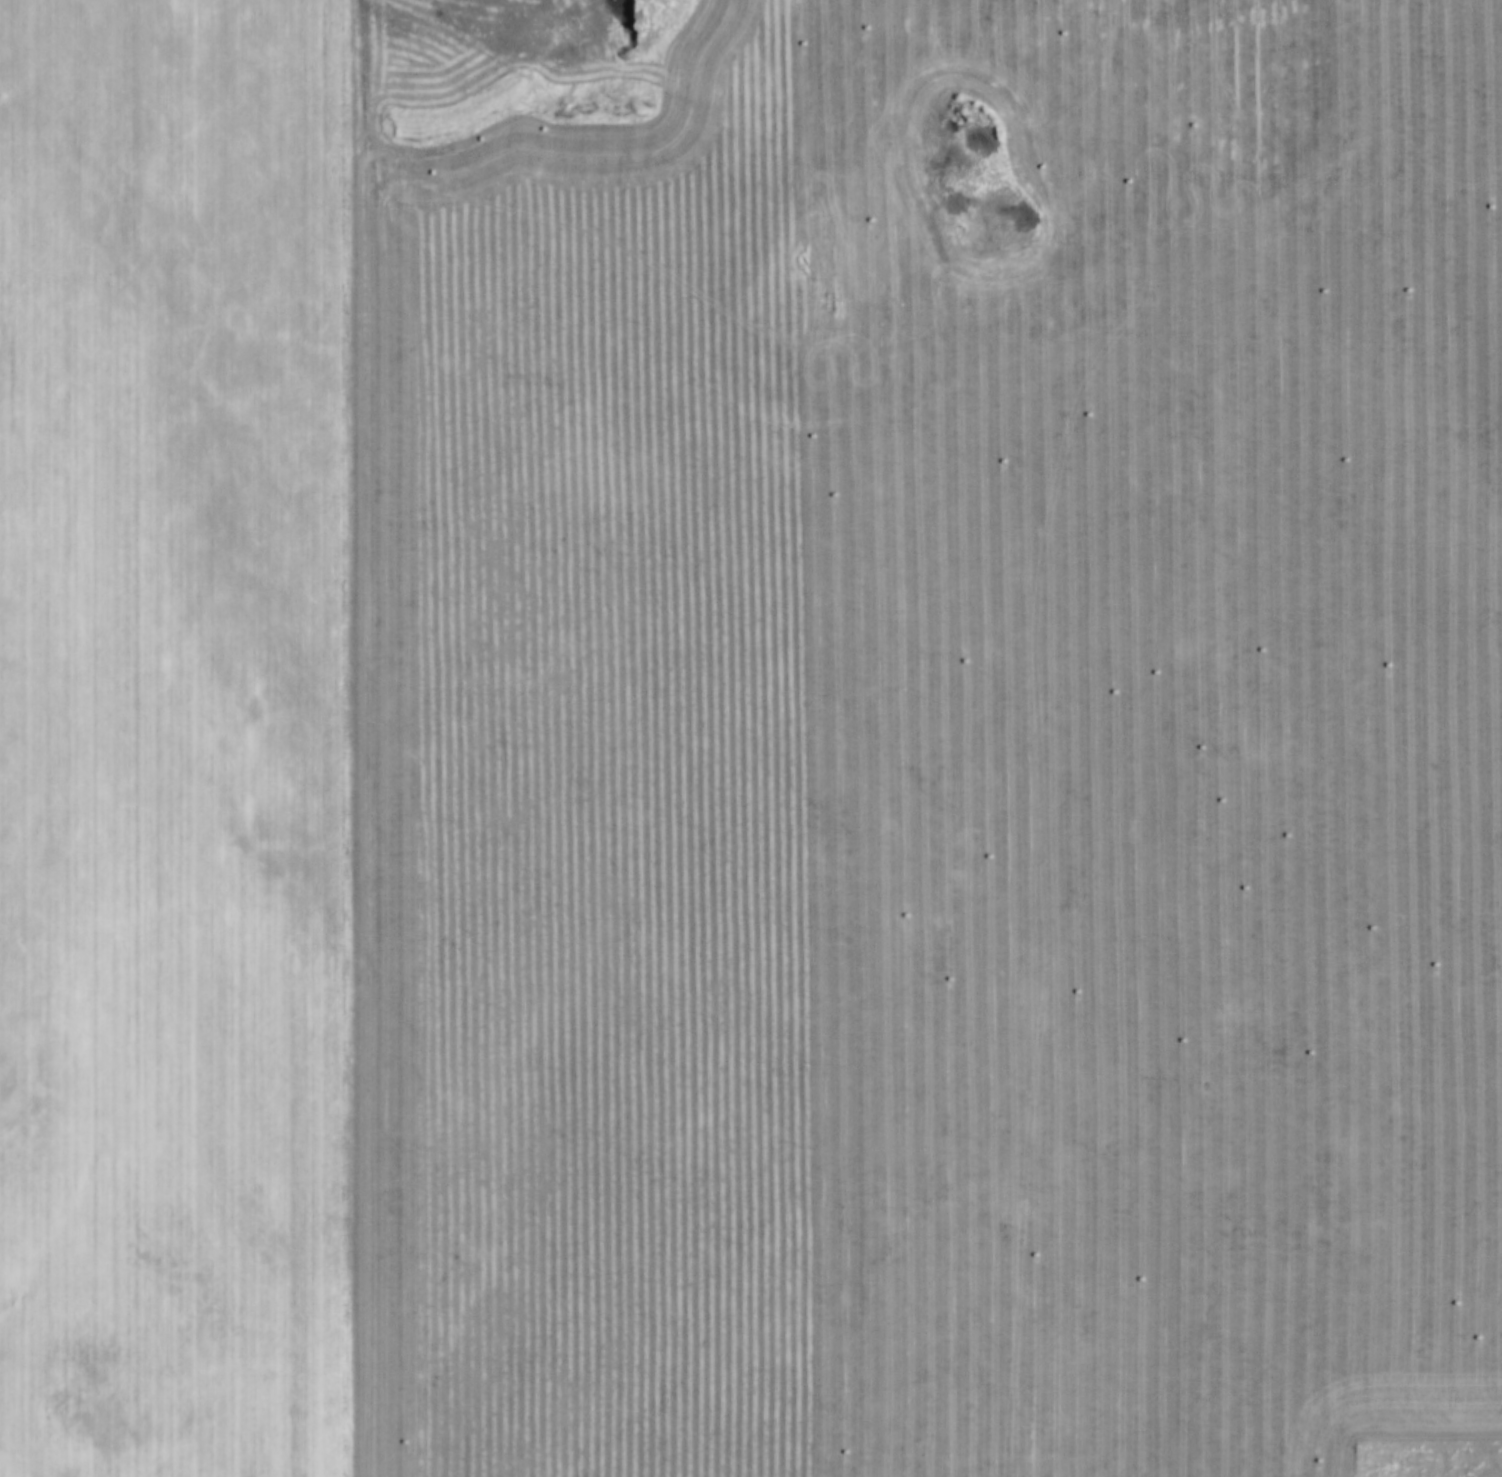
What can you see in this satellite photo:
quarry: (519, 50)
quarry: (980, 174)
road: (358, 738)

